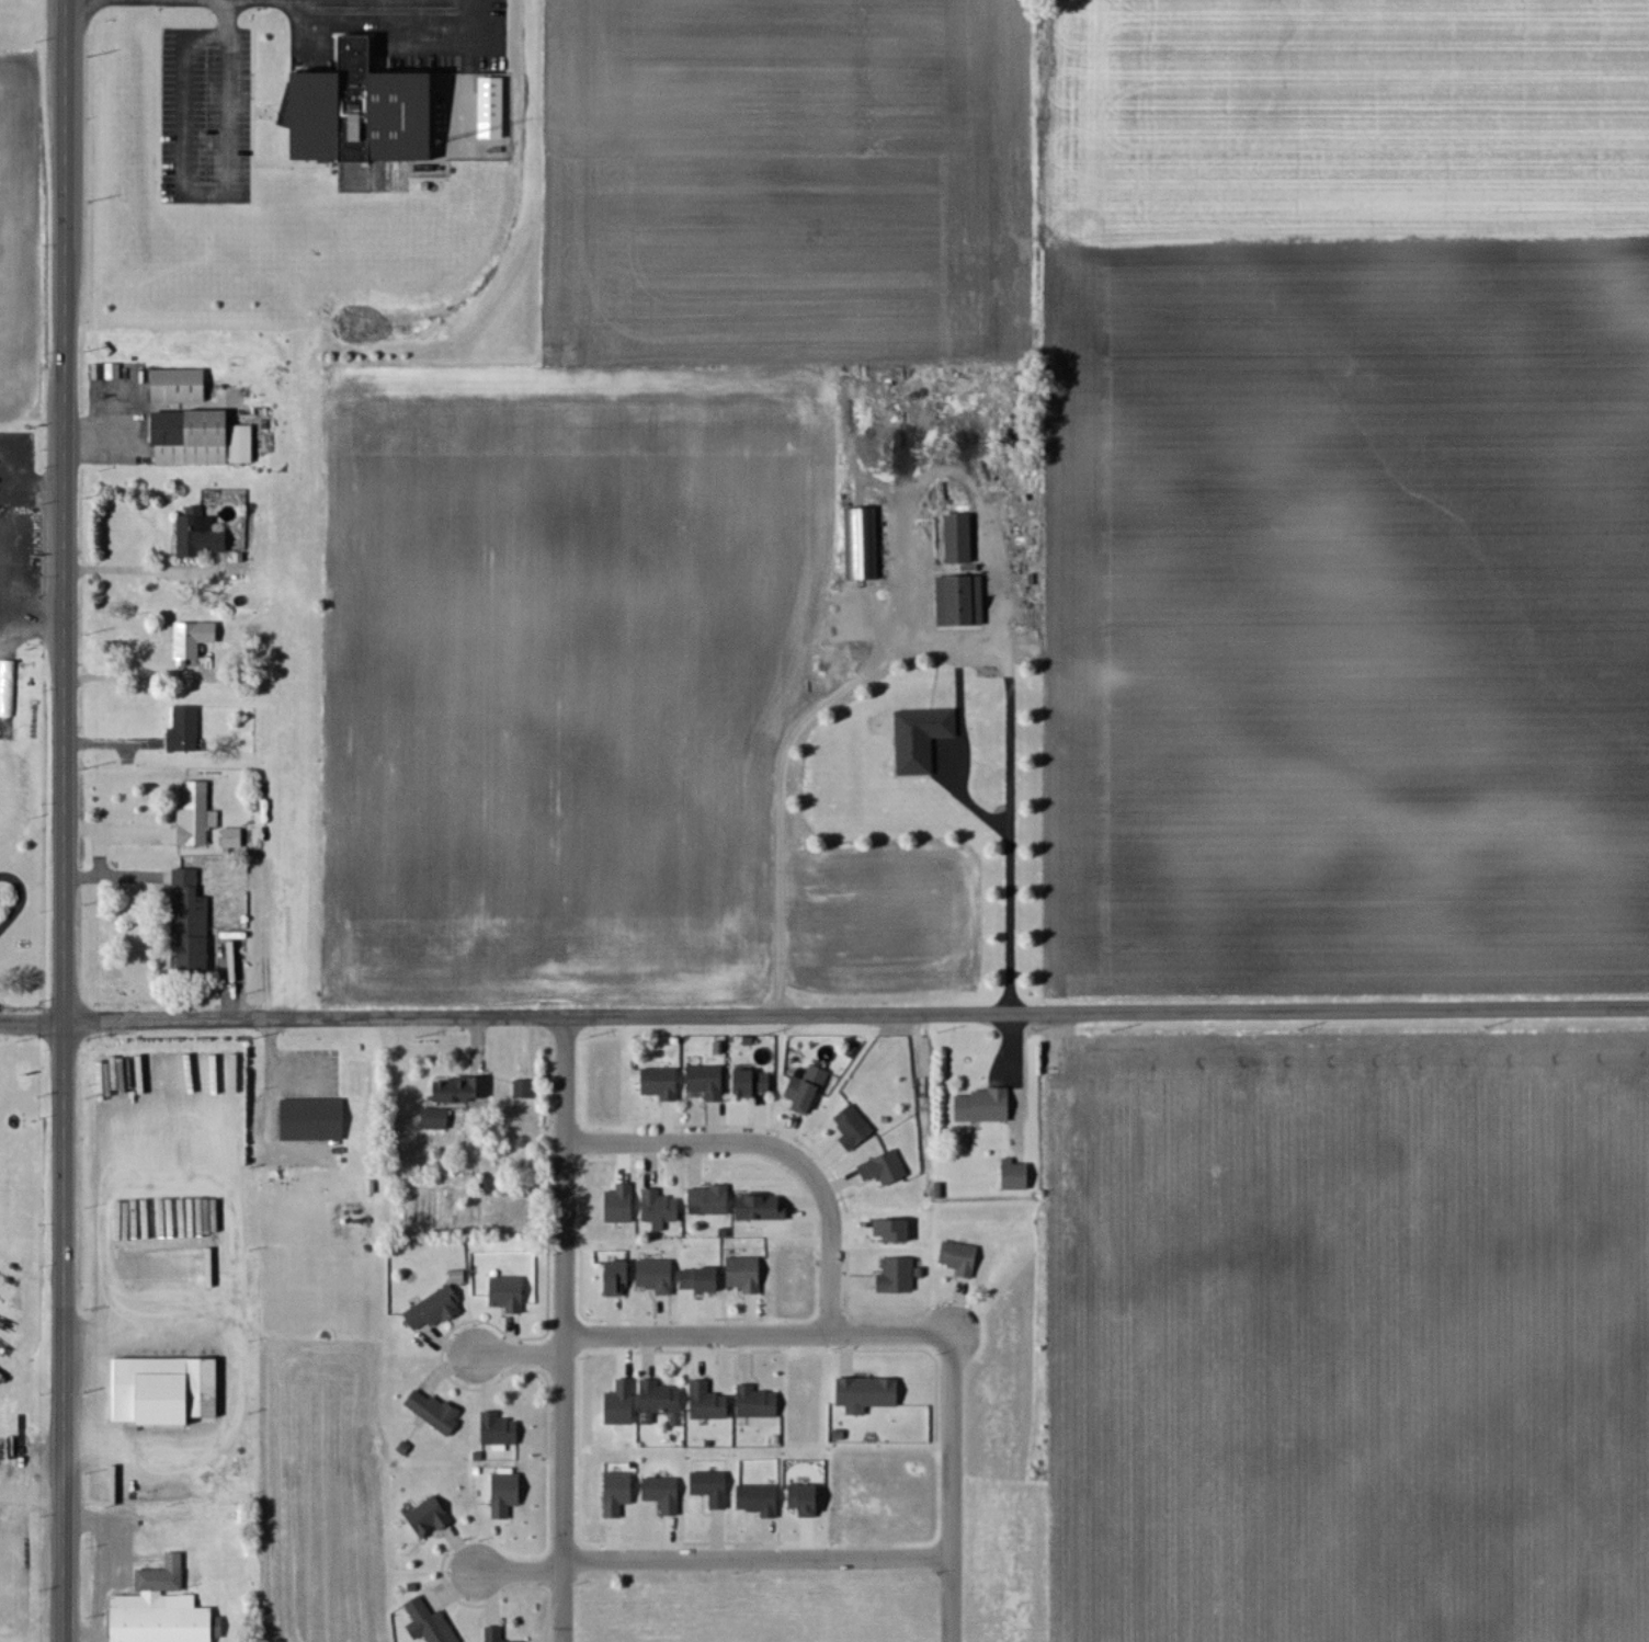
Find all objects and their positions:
road: (487, 21)
building: (362, 101)
building: (494, 109)
building: (107, 372)
building: (181, 386)
building: (203, 440)
building: (201, 536)
building: (960, 540)
building: (864, 546)
building: (963, 602)
building: (194, 641)
road: (912, 648)
road: (133, 679)
building: (185, 731)
building: (922, 739)
building: (198, 816)
road: (64, 820)
building: (234, 839)
building: (191, 924)
road: (823, 1016)
building: (708, 1082)
building: (753, 1082)
building: (662, 1084)
building: (808, 1088)
building: (464, 1090)
building: (524, 1090)
building: (986, 1106)
building: (315, 1119)
building: (436, 1119)
building: (854, 1128)
building: (885, 1170)
building: (1017, 1175)
road: (815, 1177)
building: (709, 1200)
building: (622, 1204)
building: (762, 1208)
building: (659, 1209)
building: (897, 1230)
building: (962, 1258)
building: (747, 1275)
building: (658, 1276)
building: (898, 1276)
building: (619, 1277)
building: (702, 1279)
building: (509, 1293)
building: (435, 1310)
road: (694, 1327)
road: (561, 1331)
road: (515, 1348)
building: (166, 1390)
building: (868, 1394)
building: (660, 1399)
building: (708, 1403)
building: (759, 1403)
building: (622, 1404)
building: (434, 1412)
building: (500, 1432)
road: (951, 1486)
building: (712, 1489)
building: (619, 1494)
building: (664, 1494)
building: (507, 1495)
building: (807, 1500)
building: (760, 1501)
building: (430, 1517)
road: (709, 1555)
building: (162, 1609)
building: (430, 1623)
building: (496, 1634)

